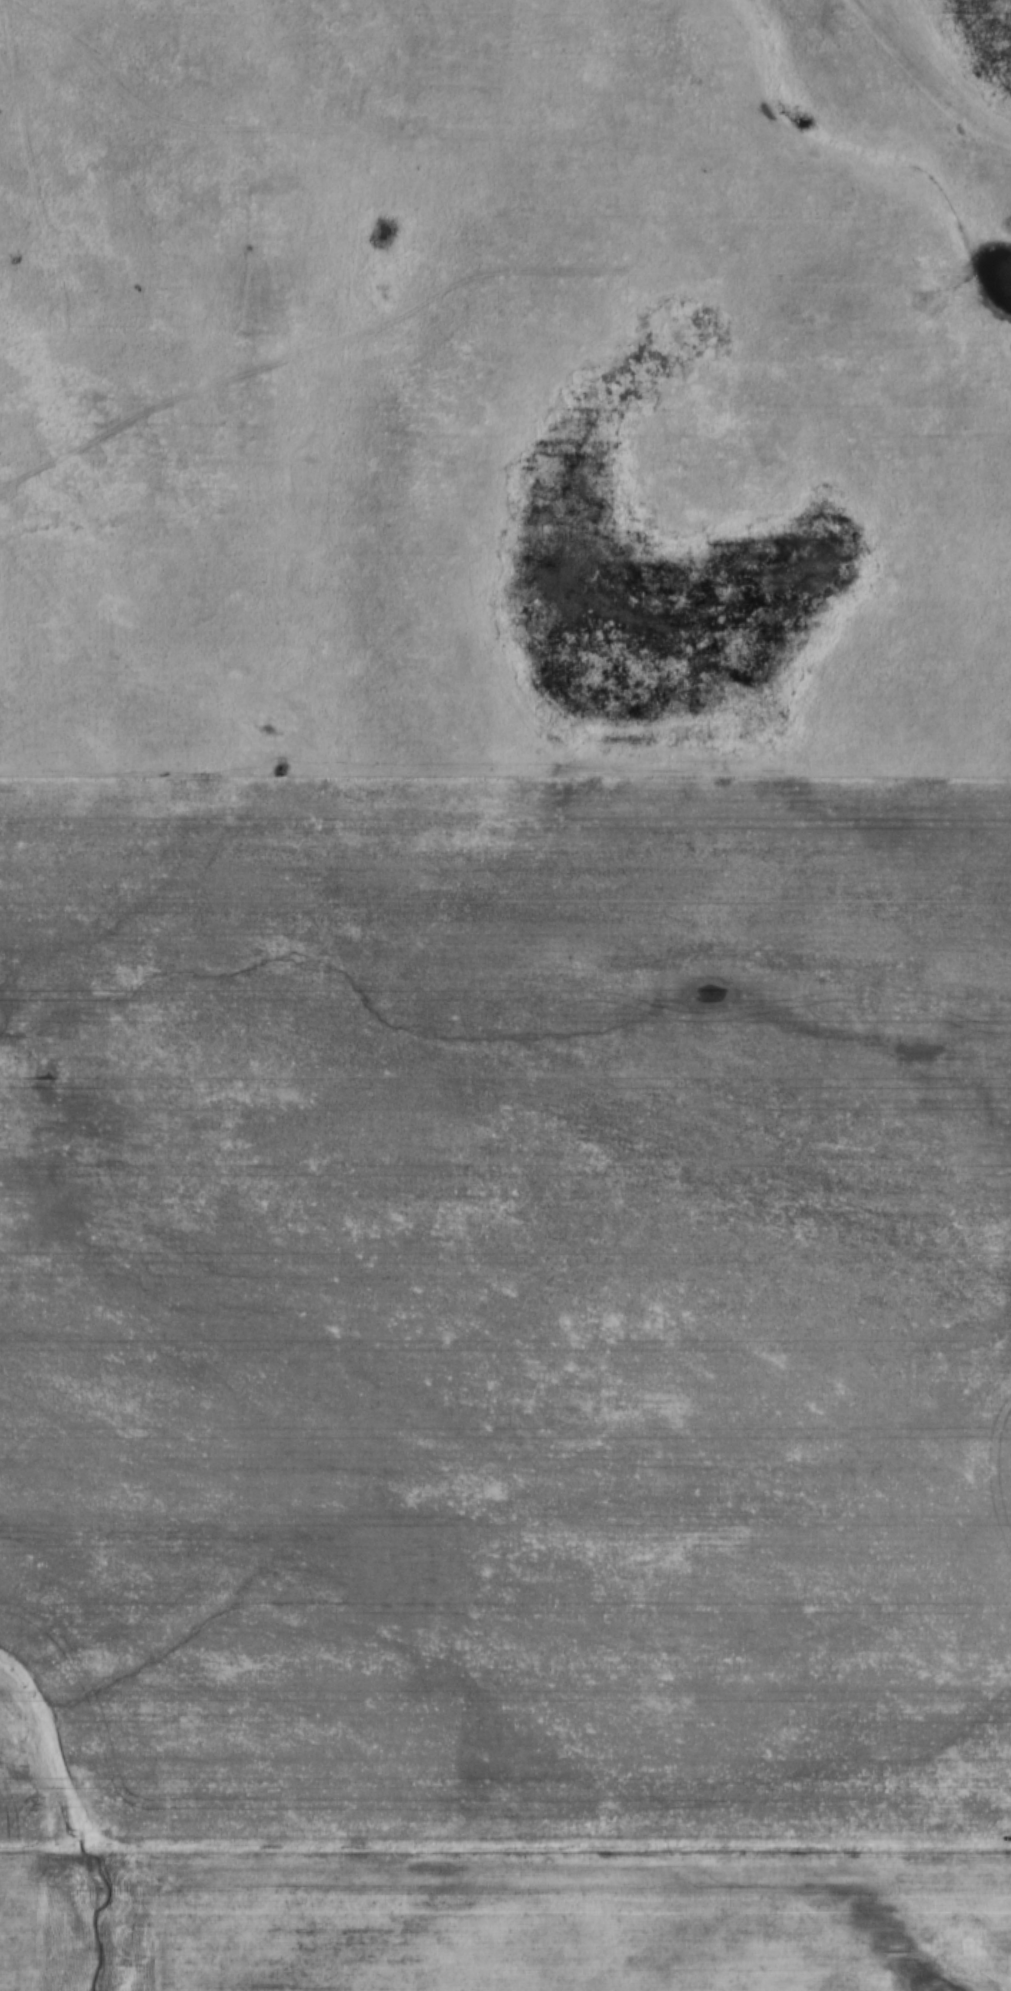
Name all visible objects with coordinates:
road: (959, 63)

